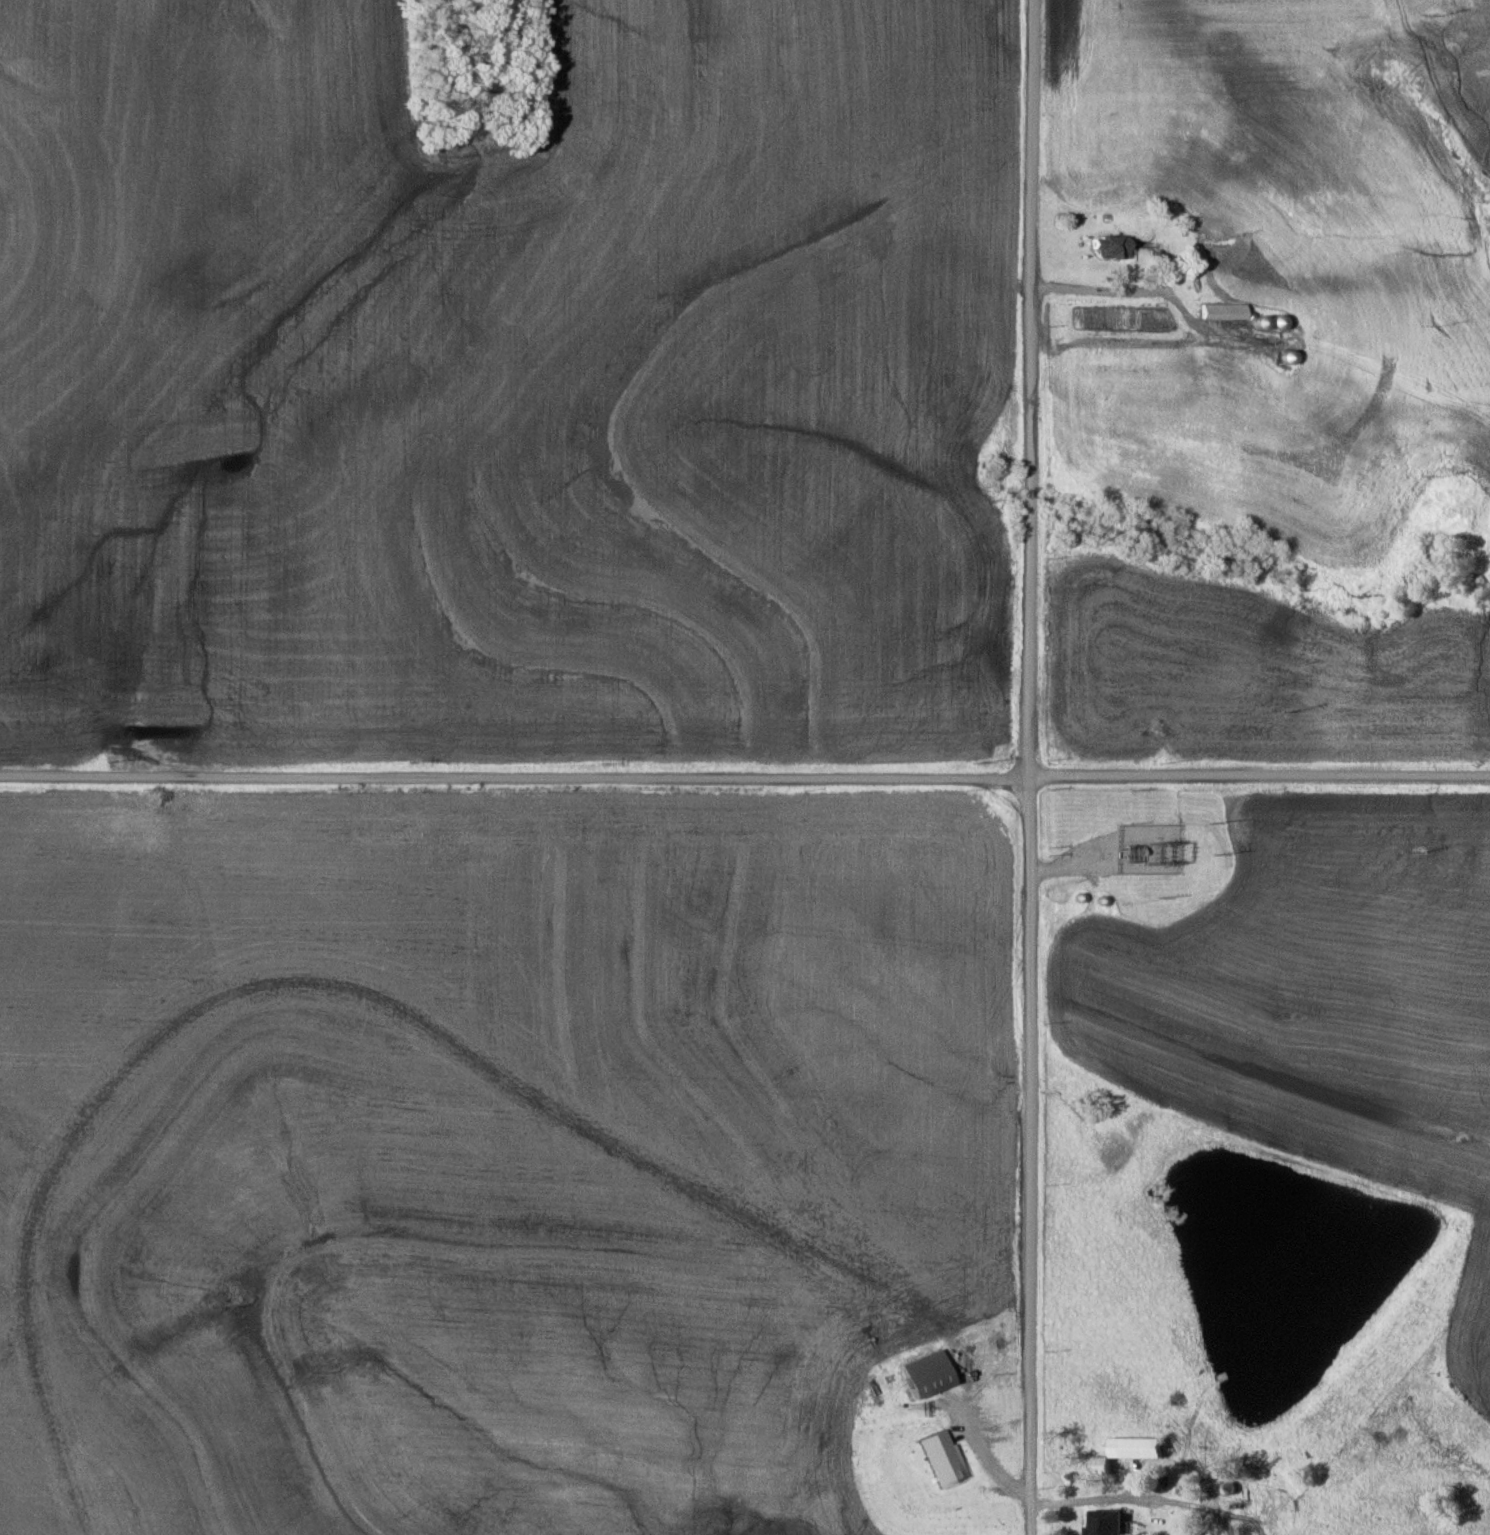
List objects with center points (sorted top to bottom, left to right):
building: (1105, 246)
building: (1219, 310)
building: (1275, 321)
building: (1283, 356)
crop: (642, 421)
road: (1031, 767)
road: (1260, 775)
road: (515, 779)
power substation: (1145, 846)
crop: (1318, 1003)
building: (922, 1375)
road: (966, 1445)
building: (1122, 1453)
building: (938, 1459)
road: (1134, 1502)
building: (1101, 1522)

